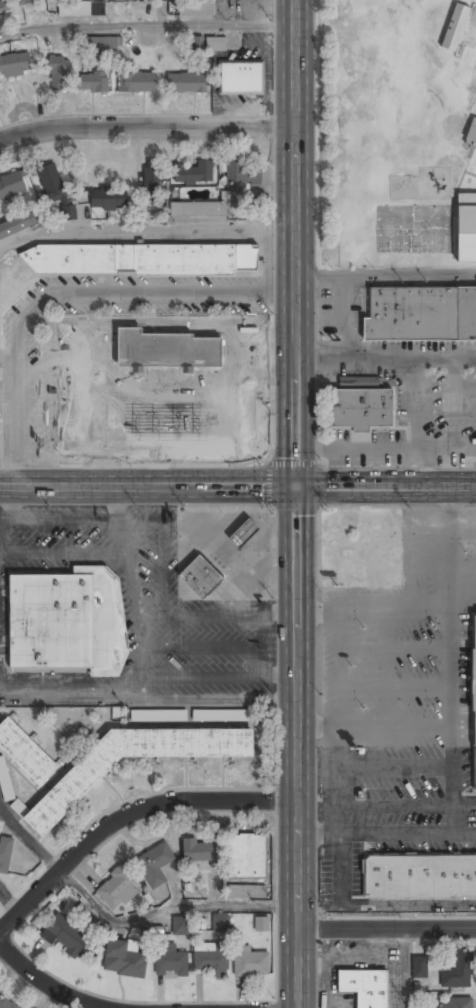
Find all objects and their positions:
building: (30, 2)
building: (196, 9)
building: (82, 10)
building: (3, 11)
road: (146, 23)
building: (455, 28)
building: (102, 45)
building: (216, 45)
building: (410, 64)
building: (15, 65)
building: (59, 74)
building: (242, 78)
building: (93, 83)
building: (137, 83)
building: (187, 84)
road: (145, 125)
building: (471, 133)
building: (194, 173)
building: (153, 181)
building: (13, 185)
building: (55, 189)
building: (235, 193)
building: (110, 200)
building: (18, 226)
building: (466, 227)
building: (122, 263)
road: (385, 276)
building: (420, 315)
road: (342, 318)
road: (384, 359)
building: (172, 405)
building: (361, 409)
road: (416, 423)
road: (385, 448)
road: (237, 486)
traffic signals: (295, 487)
road: (295, 504)
building: (244, 535)
building: (200, 578)
building: (67, 621)
building: (474, 700)
building: (220, 714)
building: (158, 715)
building: (25, 753)
building: (5, 781)
building: (72, 787)
building: (19, 807)
road: (125, 815)
road: (28, 838)
building: (201, 852)
building: (5, 854)
building: (248, 857)
building: (155, 865)
building: (419, 877)
building: (118, 890)
building: (248, 892)
road: (167, 914)
building: (220, 922)
building: (262, 924)
building: (180, 927)
road: (386, 928)
building: (66, 936)
building: (124, 959)
building: (211, 961)
building: (171, 962)
building: (251, 962)
building: (419, 966)
road: (410, 968)
building: (458, 971)
road: (43, 982)
building: (365, 987)
building: (453, 1003)
building: (5, 1004)

